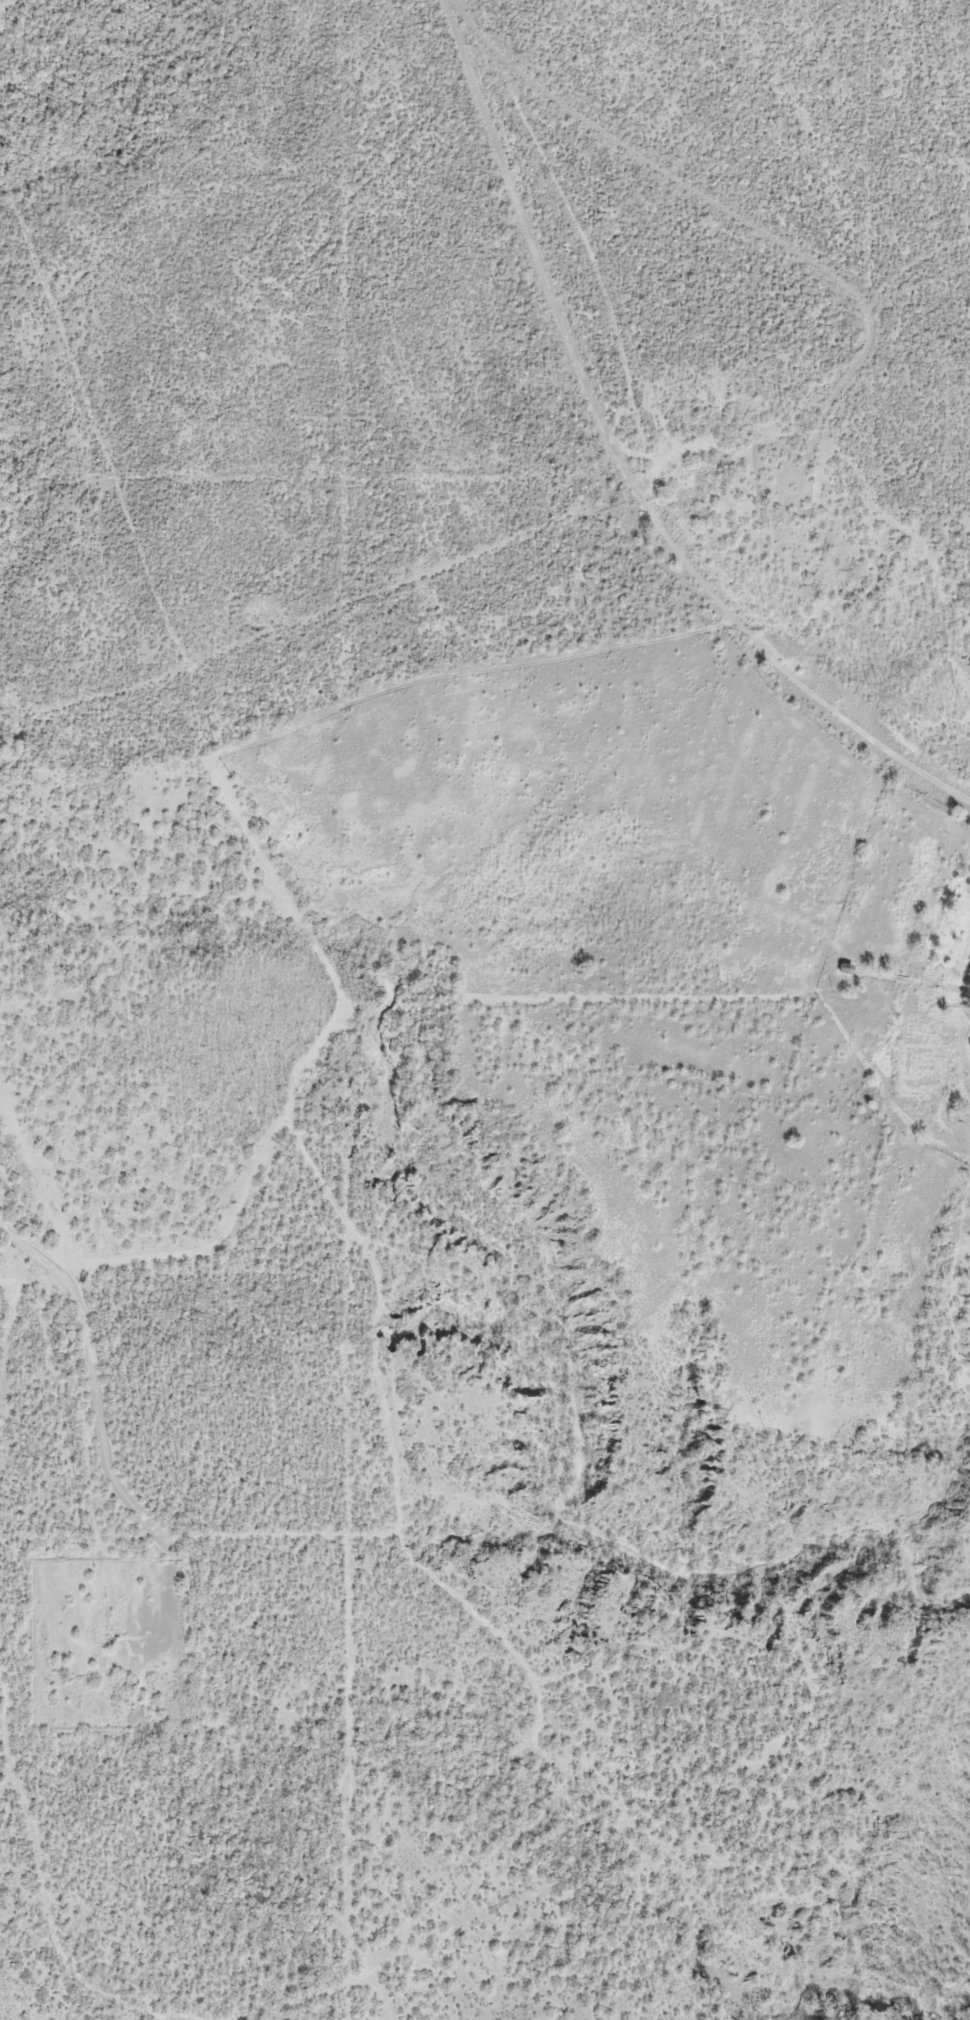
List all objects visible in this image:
road: (615, 466)

